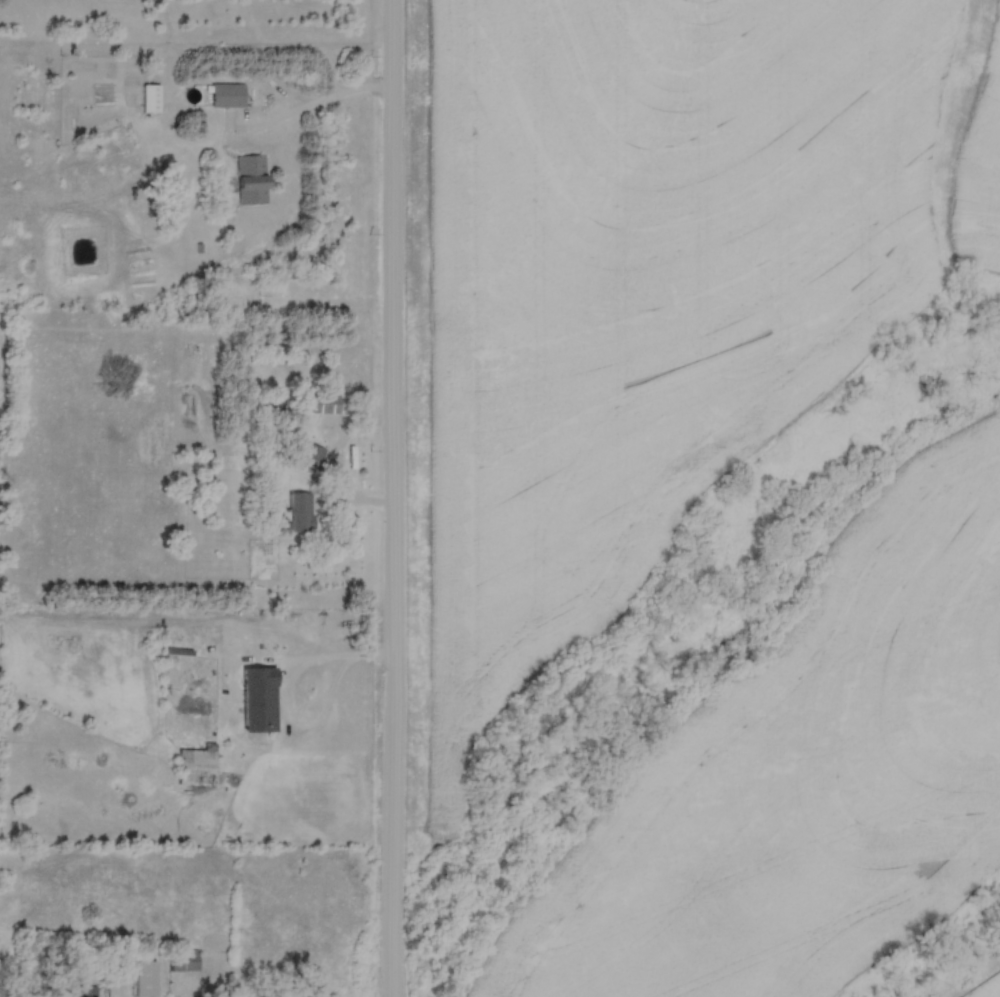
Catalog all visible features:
road: (310, 92)
building: (222, 94)
building: (145, 97)
building: (247, 178)
building: (321, 401)
road: (340, 461)
road: (393, 498)
building: (293, 511)
road: (207, 669)
road: (287, 698)
building: (251, 700)
building: (191, 766)
building: (178, 959)
building: (141, 977)

